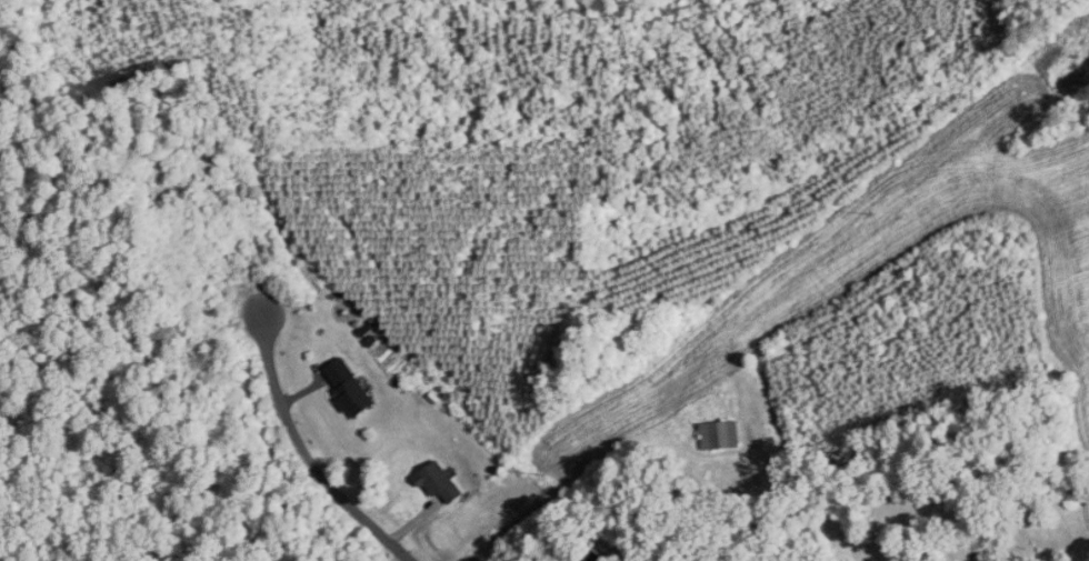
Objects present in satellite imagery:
building: (354, 399)
building: (722, 435)
road: (304, 447)
building: (440, 483)
building: (985, 560)

